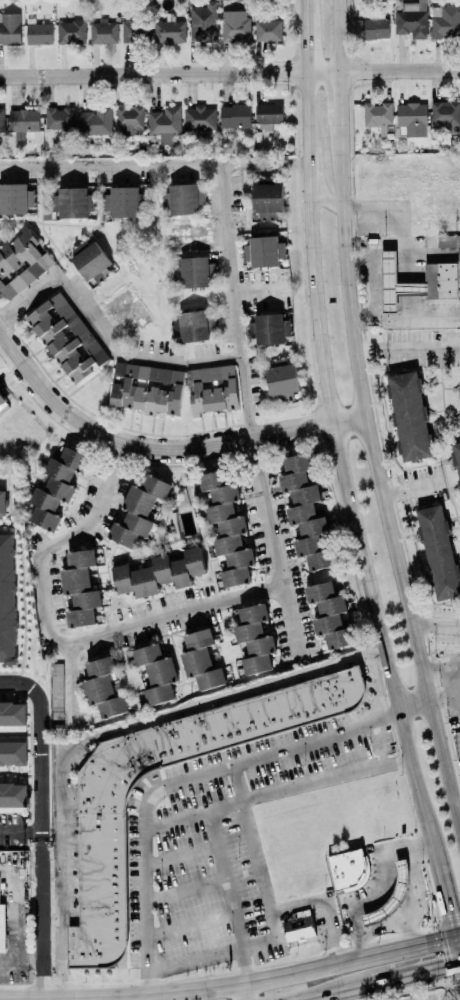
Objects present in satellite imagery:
road: (304, 6)
building: (444, 21)
building: (203, 22)
building: (235, 25)
building: (10, 28)
building: (375, 28)
building: (267, 30)
building: (135, 31)
building: (169, 31)
building: (71, 32)
building: (103, 32)
building: (39, 33)
road: (335, 36)
road: (305, 42)
road: (230, 73)
road: (337, 101)
road: (306, 109)
building: (377, 114)
building: (234, 116)
building: (267, 116)
building: (444, 116)
building: (59, 118)
building: (199, 118)
building: (130, 119)
building: (410, 119)
building: (23, 120)
building: (96, 121)
building: (165, 123)
road: (153, 165)
road: (306, 170)
building: (15, 198)
building: (185, 199)
building: (266, 199)
building: (122, 201)
building: (72, 202)
road: (322, 203)
road: (399, 234)
building: (263, 251)
building: (91, 260)
building: (20, 264)
building: (192, 271)
building: (440, 273)
road: (262, 285)
road: (375, 302)
building: (194, 325)
building: (268, 328)
road: (0, 331)
road: (104, 334)
building: (66, 337)
road: (406, 347)
building: (281, 378)
building: (147, 388)
building: (212, 388)
building: (459, 390)
building: (3, 404)
road: (249, 414)
building: (408, 416)
road: (159, 447)
building: (457, 461)
building: (55, 488)
road: (379, 488)
road: (409, 489)
building: (2, 503)
building: (138, 510)
building: (227, 528)
road: (355, 532)
building: (438, 552)
building: (7, 599)
building: (328, 614)
road: (434, 624)
road: (57, 634)
building: (254, 638)
building: (200, 660)
road: (439, 664)
building: (156, 673)
road: (457, 673)
road: (70, 682)
road: (374, 683)
building: (102, 687)
building: (57, 690)
road: (443, 695)
road: (412, 703)
building: (12, 716)
road: (103, 731)
road: (377, 743)
building: (13, 750)
road: (325, 778)
road: (177, 779)
building: (13, 797)
road: (41, 806)
road: (456, 810)
road: (193, 814)
road: (21, 831)
road: (180, 853)
building: (102, 867)
building: (348, 870)
road: (224, 878)
road: (415, 886)
road: (185, 890)
road: (367, 891)
road: (445, 901)
road: (326, 905)
road: (271, 916)
road: (18, 920)
road: (189, 923)
building: (2, 927)
building: (298, 928)
traffic signals: (454, 937)
road: (456, 950)
road: (30, 959)
traffic signals: (458, 964)
road: (242, 966)
road: (459, 968)
road: (42, 979)
road: (384, 981)
road: (232, 985)
road: (246, 992)
road: (42, 999)
road: (65, 999)

